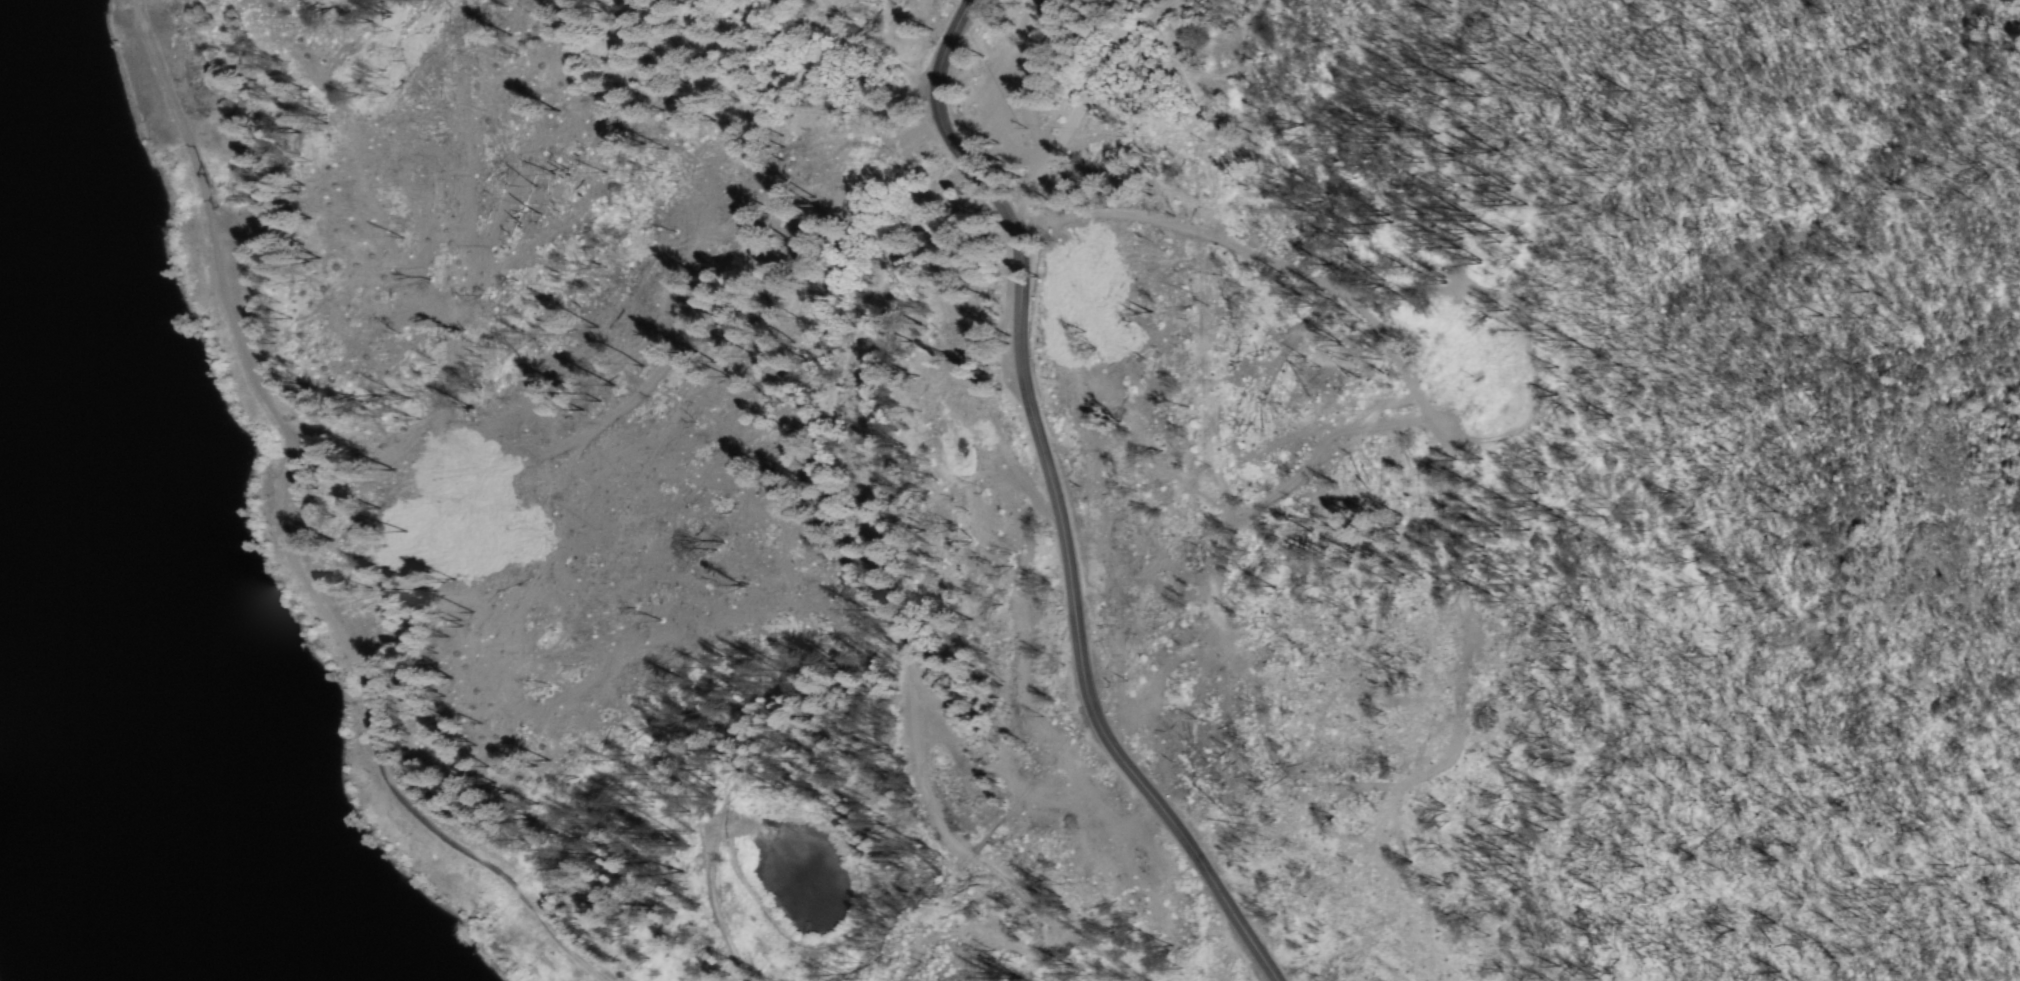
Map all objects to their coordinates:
road: (1072, 91)
road: (1172, 215)
road: (1432, 407)
road: (1060, 500)
road: (885, 527)

